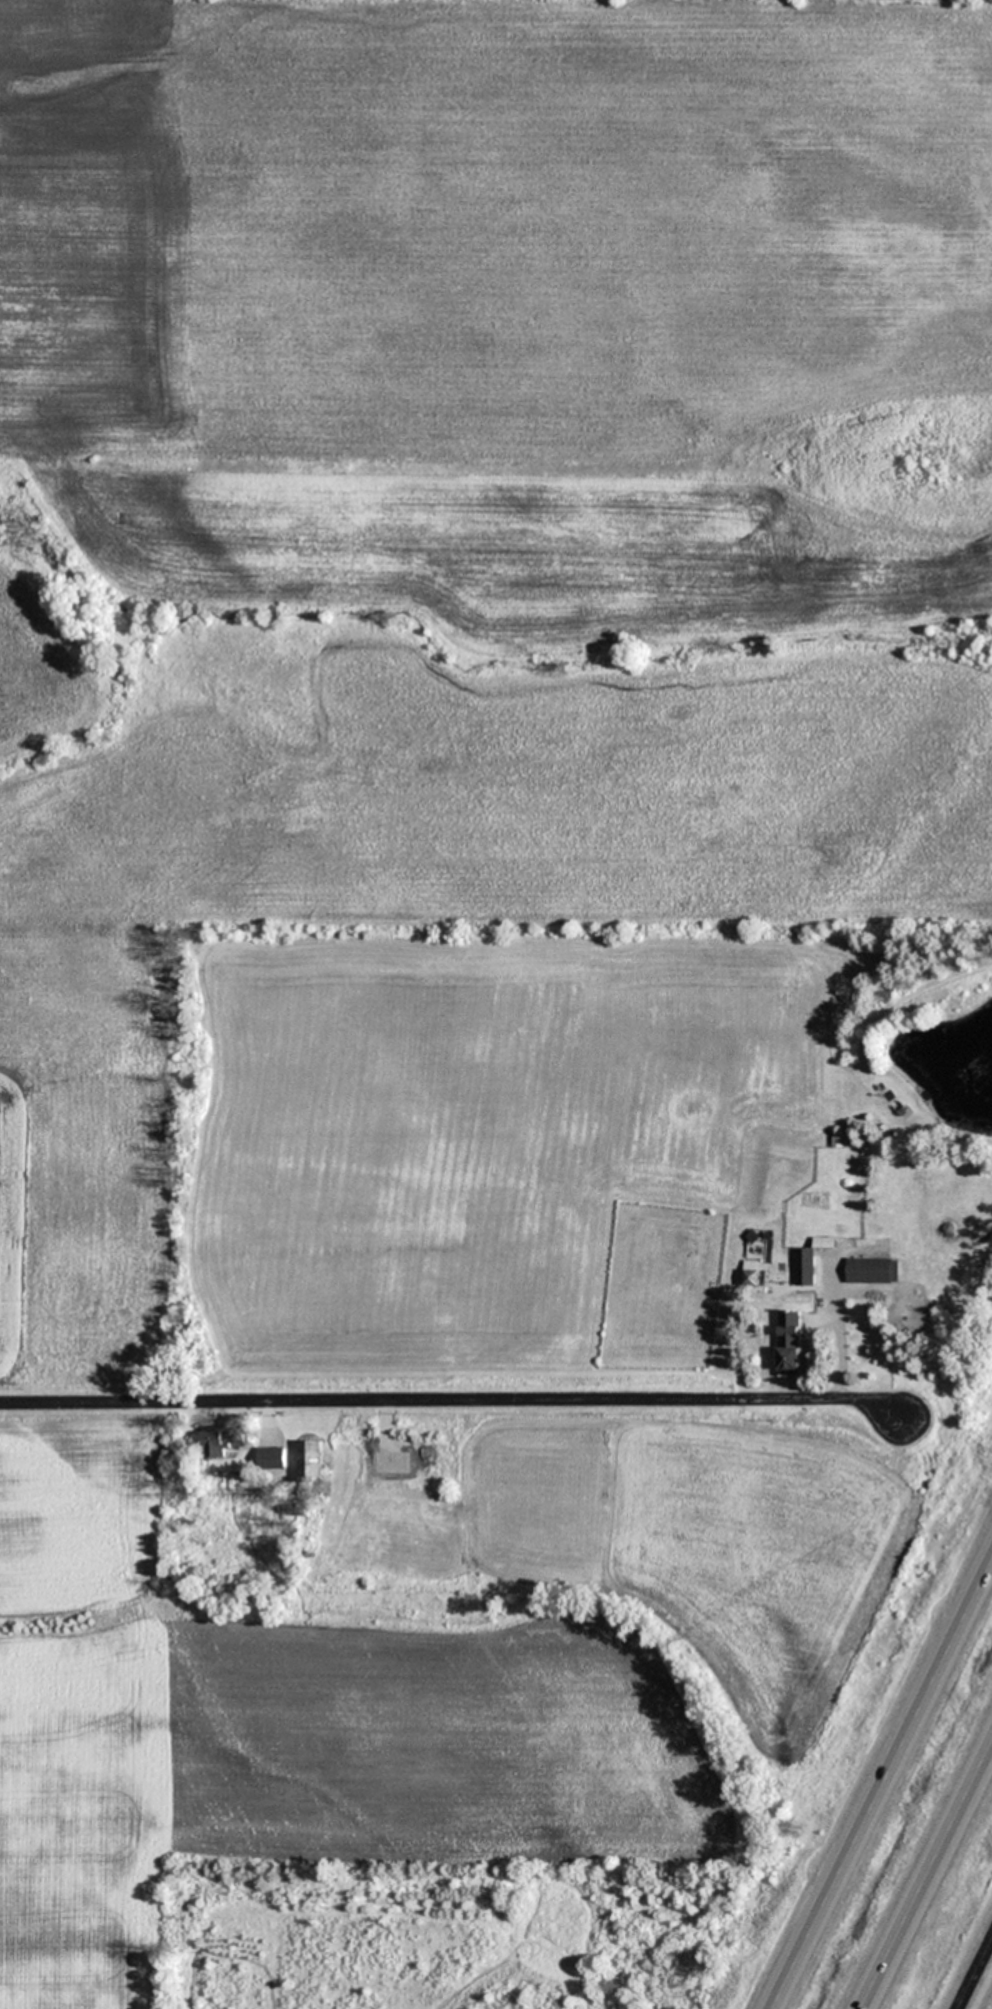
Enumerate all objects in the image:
building: (805, 1266)
building: (873, 1270)
building: (752, 1271)
building: (793, 1341)
road: (449, 1397)
building: (221, 1438)
building: (311, 1457)
road: (881, 1782)
road: (927, 1877)
road: (975, 1974)

